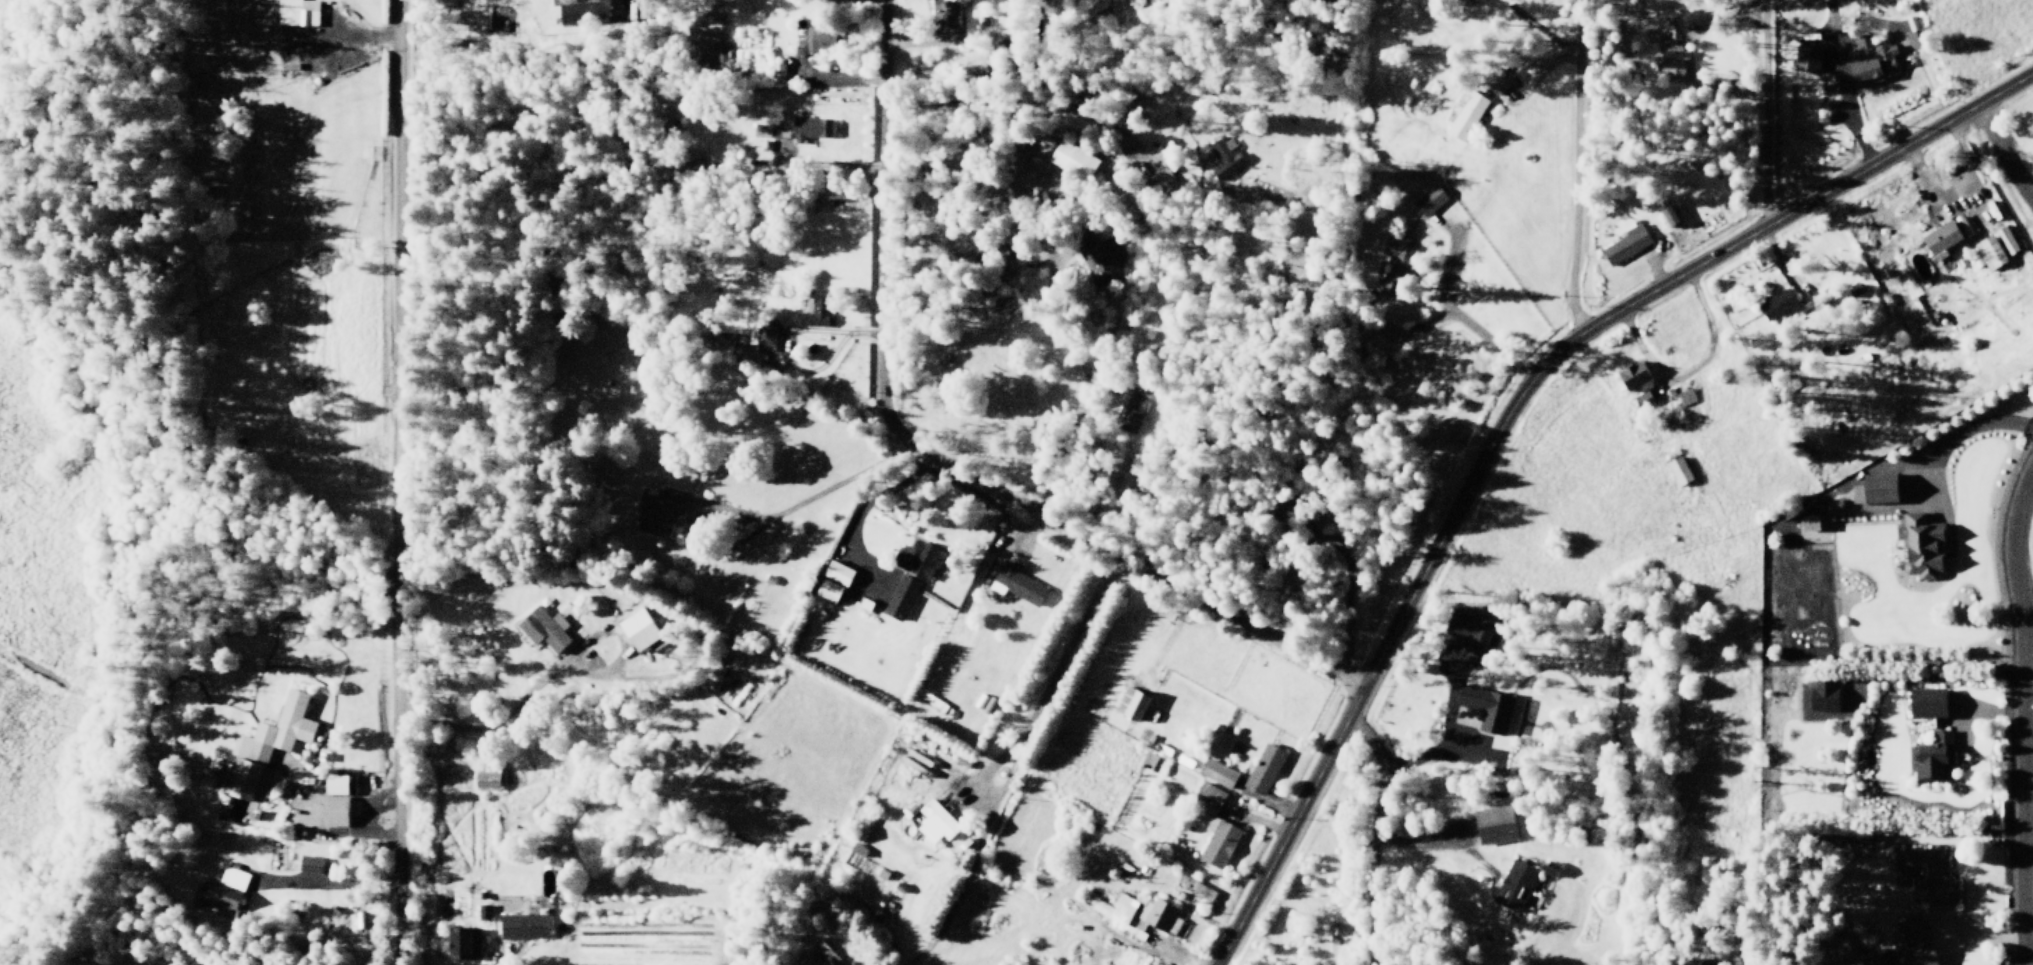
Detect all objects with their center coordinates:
building: (1469, 0)
building: (642, 8)
building: (592, 10)
building: (944, 12)
road: (1720, 12)
building: (295, 13)
road: (1538, 29)
building: (822, 36)
road: (341, 38)
building: (1919, 39)
road: (1020, 40)
road: (1707, 40)
road: (10, 44)
building: (803, 45)
building: (1805, 58)
building: (1869, 62)
building: (1673, 63)
road: (1720, 64)
building: (780, 72)
road: (823, 75)
building: (1501, 75)
road: (1539, 76)
road: (1023, 97)
road: (1833, 99)
road: (1765, 113)
building: (1465, 115)
building: (811, 129)
building: (765, 132)
road: (2004, 151)
building: (1072, 161)
building: (698, 164)
road: (822, 166)
building: (1227, 167)
road: (1577, 167)
road: (1926, 173)
building: (1429, 202)
building: (1667, 216)
building: (1019, 237)
building: (1941, 240)
building: (1627, 242)
building: (1995, 249)
road: (1763, 258)
road: (1448, 259)
building: (1098, 260)
road: (1041, 265)
road: (1655, 267)
building: (1394, 269)
building: (1848, 292)
building: (1777, 303)
building: (818, 308)
road: (1429, 311)
building: (758, 333)
road: (784, 340)
road: (1689, 373)
road: (1111, 374)
building: (1637, 385)
building: (1687, 395)
road: (1081, 400)
road: (1511, 411)
building: (1136, 417)
road: (1951, 433)
road: (936, 458)
building: (1678, 471)
road: (393, 482)
road: (1841, 484)
building: (1873, 494)
road: (807, 499)
building: (655, 506)
road: (863, 508)
building: (1295, 512)
building: (1811, 524)
road: (1026, 534)
road: (1346, 551)
building: (1916, 553)
building: (917, 559)
building: (835, 574)
building: (1016, 582)
building: (898, 599)
building: (862, 604)
building: (1468, 627)
building: (546, 629)
building: (640, 629)
road: (105, 631)
road: (1168, 638)
road: (1060, 662)
road: (545, 676)
crop: (1275, 689)
road: (2028, 692)
building: (934, 702)
building: (1820, 702)
building: (1128, 705)
building: (753, 706)
building: (1923, 708)
building: (1492, 709)
road: (1989, 716)
road: (2022, 718)
road: (1442, 731)
road: (2027, 732)
road: (1462, 739)
building: (268, 748)
building: (1928, 758)
building: (1152, 764)
building: (1262, 769)
building: (1216, 772)
building: (488, 781)
building: (338, 784)
building: (337, 810)
building: (934, 818)
road: (1256, 820)
building: (1495, 824)
building: (1213, 829)
road: (322, 832)
road: (1376, 833)
road: (1420, 840)
building: (1050, 859)
road: (962, 874)
road: (1071, 879)
road: (326, 884)
building: (1926, 885)
building: (1516, 886)
building: (226, 888)
building: (1191, 892)
road: (2027, 897)
building: (1138, 910)
building: (486, 911)
crop: (646, 915)
building: (526, 924)
building: (465, 940)
road: (1151, 941)
road: (1164, 941)
road: (1979, 944)
building: (1907, 946)
building: (818, 952)
road: (499, 958)
road: (447, 964)

